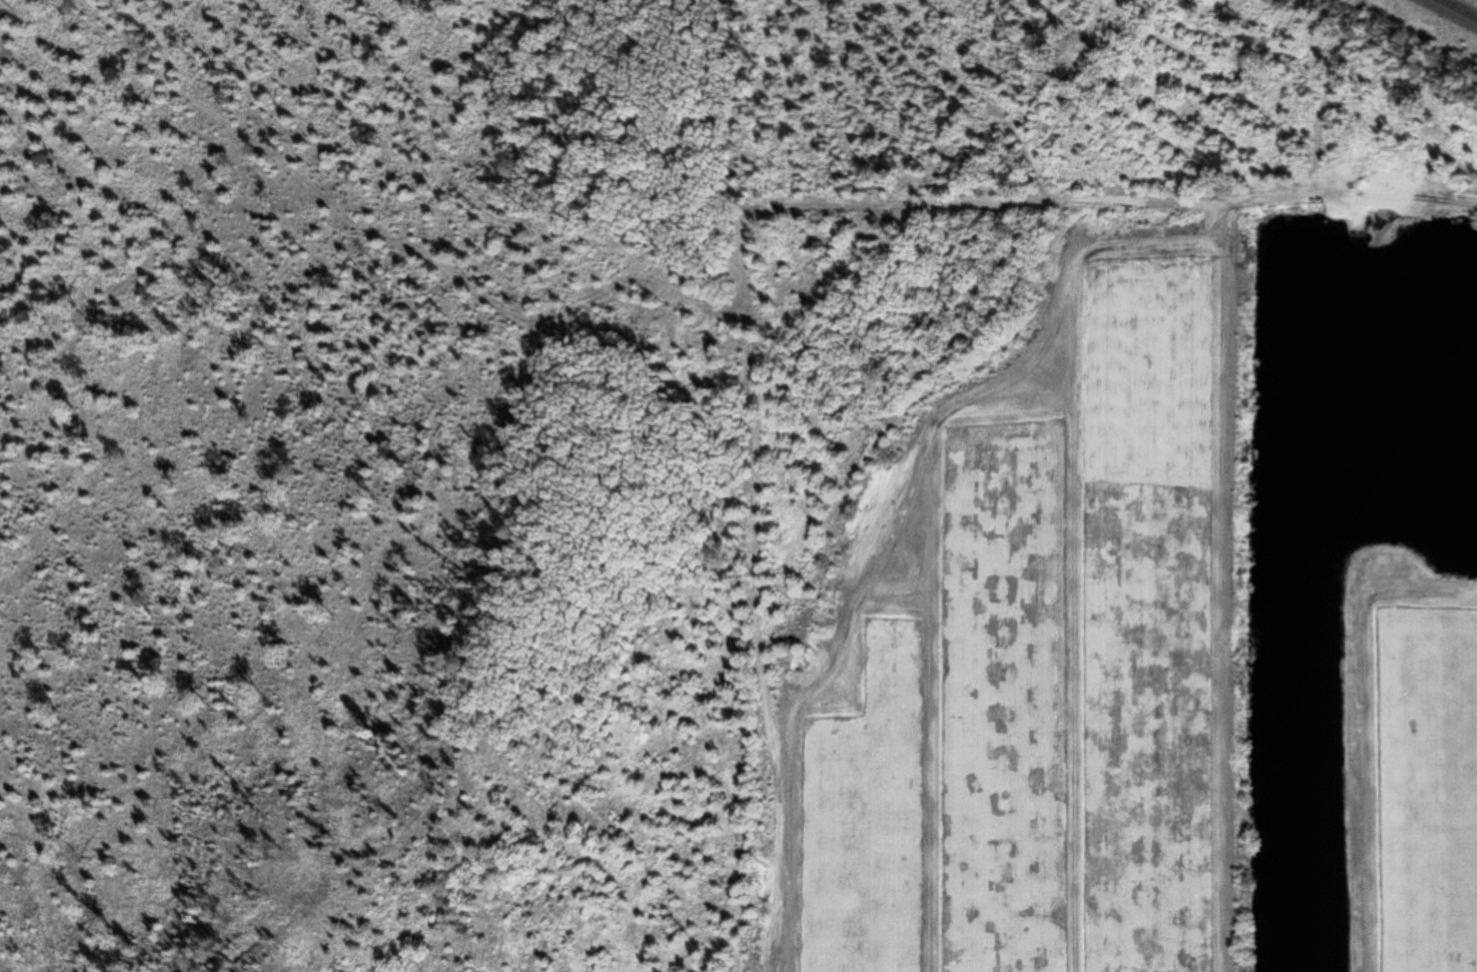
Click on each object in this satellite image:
railway: (1454, 11)

